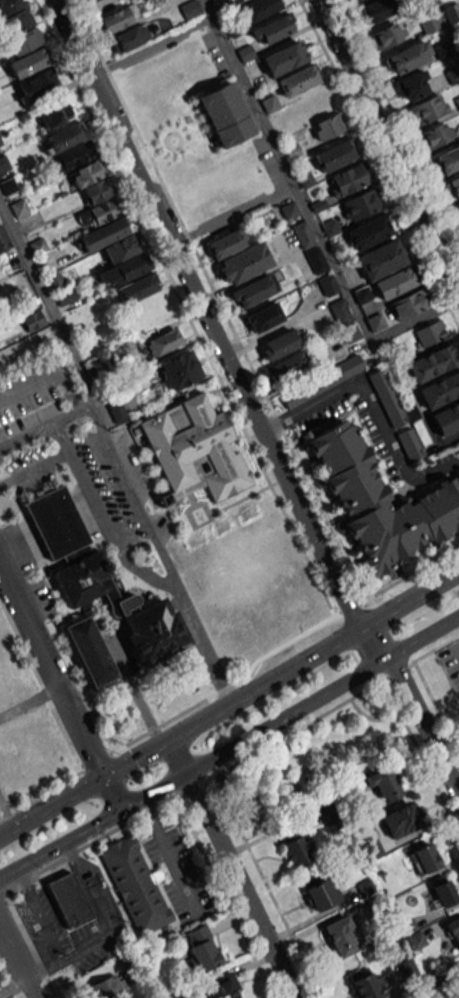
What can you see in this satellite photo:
building: (90, 0)
building: (356, 0)
building: (231, 1)
building: (259, 8)
building: (189, 10)
building: (378, 10)
building: (452, 11)
building: (118, 19)
road: (445, 28)
building: (272, 30)
building: (389, 35)
building: (128, 38)
building: (24, 44)
road: (150, 44)
building: (283, 58)
building: (400, 61)
building: (297, 80)
building: (36, 86)
building: (411, 87)
building: (426, 110)
building: (56, 113)
building: (224, 114)
building: (328, 127)
building: (436, 135)
road: (387, 146)
building: (335, 154)
building: (73, 156)
building: (448, 159)
building: (3, 163)
building: (351, 178)
building: (454, 187)
building: (95, 194)
building: (362, 204)
building: (458, 206)
building: (19, 208)
building: (289, 210)
road: (310, 213)
road: (234, 215)
building: (368, 232)
building: (4, 240)
building: (309, 247)
building: (115, 250)
building: (237, 257)
building: (381, 260)
building: (395, 284)
building: (327, 285)
building: (136, 289)
building: (253, 291)
building: (362, 295)
building: (409, 304)
building: (340, 312)
road: (50, 313)
road: (206, 314)
building: (264, 317)
building: (430, 333)
building: (161, 344)
building: (279, 345)
building: (432, 363)
building: (289, 367)
building: (179, 370)
building: (322, 381)
building: (440, 390)
building: (387, 398)
road: (75, 400)
road: (87, 407)
road: (372, 408)
building: (117, 412)
building: (446, 418)
road: (59, 439)
building: (194, 451)
road: (34, 469)
building: (380, 502)
building: (56, 525)
road: (110, 531)
road: (162, 561)
road: (412, 598)
building: (122, 608)
road: (423, 634)
road: (376, 640)
building: (89, 652)
parking lot: (450, 661)
road: (50, 672)
road: (232, 699)
road: (337, 705)
road: (424, 724)
road: (255, 734)
traffic signals: (101, 774)
building: (382, 786)
road: (38, 789)
road: (195, 789)
road: (111, 792)
road: (50, 802)
traffic signals: (122, 811)
building: (399, 821)
road: (60, 844)
road: (92, 845)
building: (295, 846)
road: (167, 854)
building: (423, 859)
road: (230, 867)
parking lot: (179, 874)
building: (134, 885)
building: (364, 887)
building: (320, 889)
building: (442, 890)
road: (4, 893)
road: (224, 899)
building: (68, 900)
road: (39, 915)
road: (109, 925)
building: (453, 931)
building: (341, 936)
building: (201, 948)
road: (16, 963)
building: (405, 966)
building: (365, 983)
road: (12, 987)
building: (219, 987)
building: (104, 988)
building: (420, 993)
building: (173, 995)

